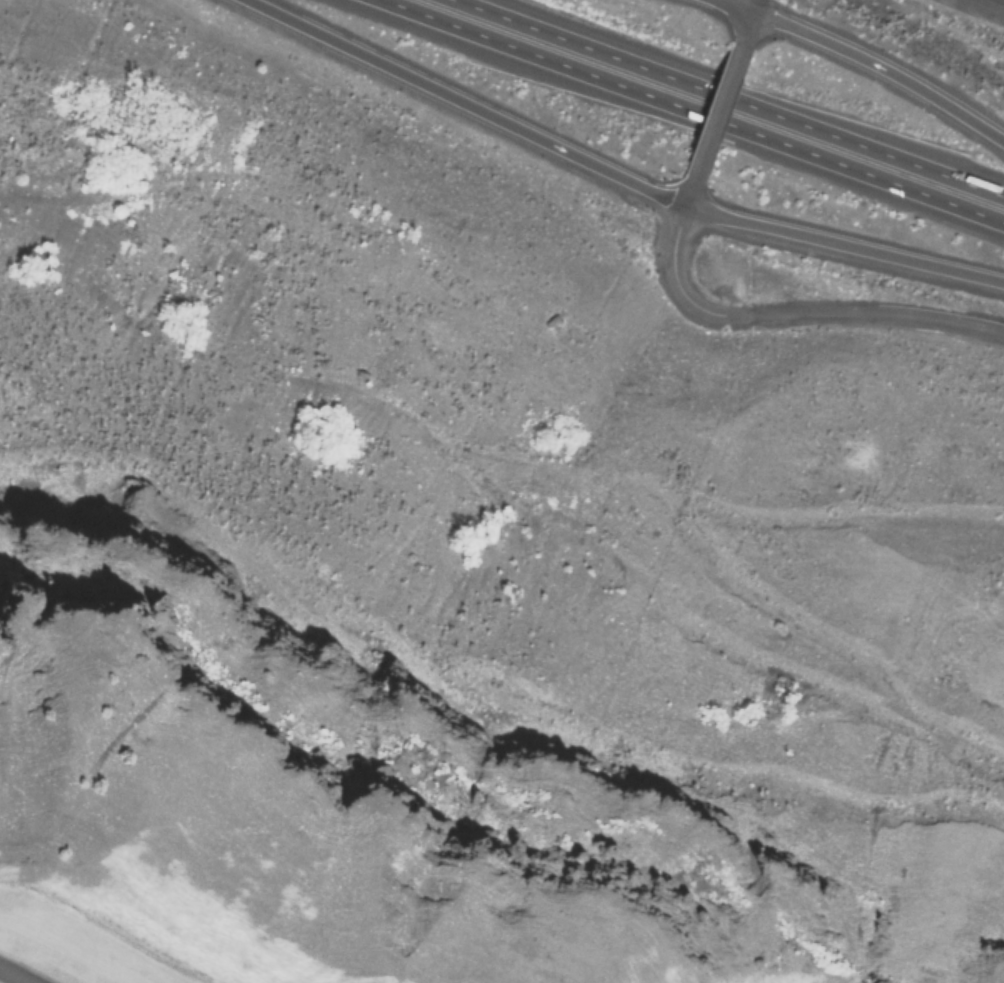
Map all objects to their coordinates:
railway: (991, 5)
road: (730, 9)
road: (752, 24)
road: (884, 68)
road: (752, 90)
road: (464, 106)
road: (720, 115)
road: (671, 122)
road: (846, 242)
road: (782, 318)
road: (12, 976)

